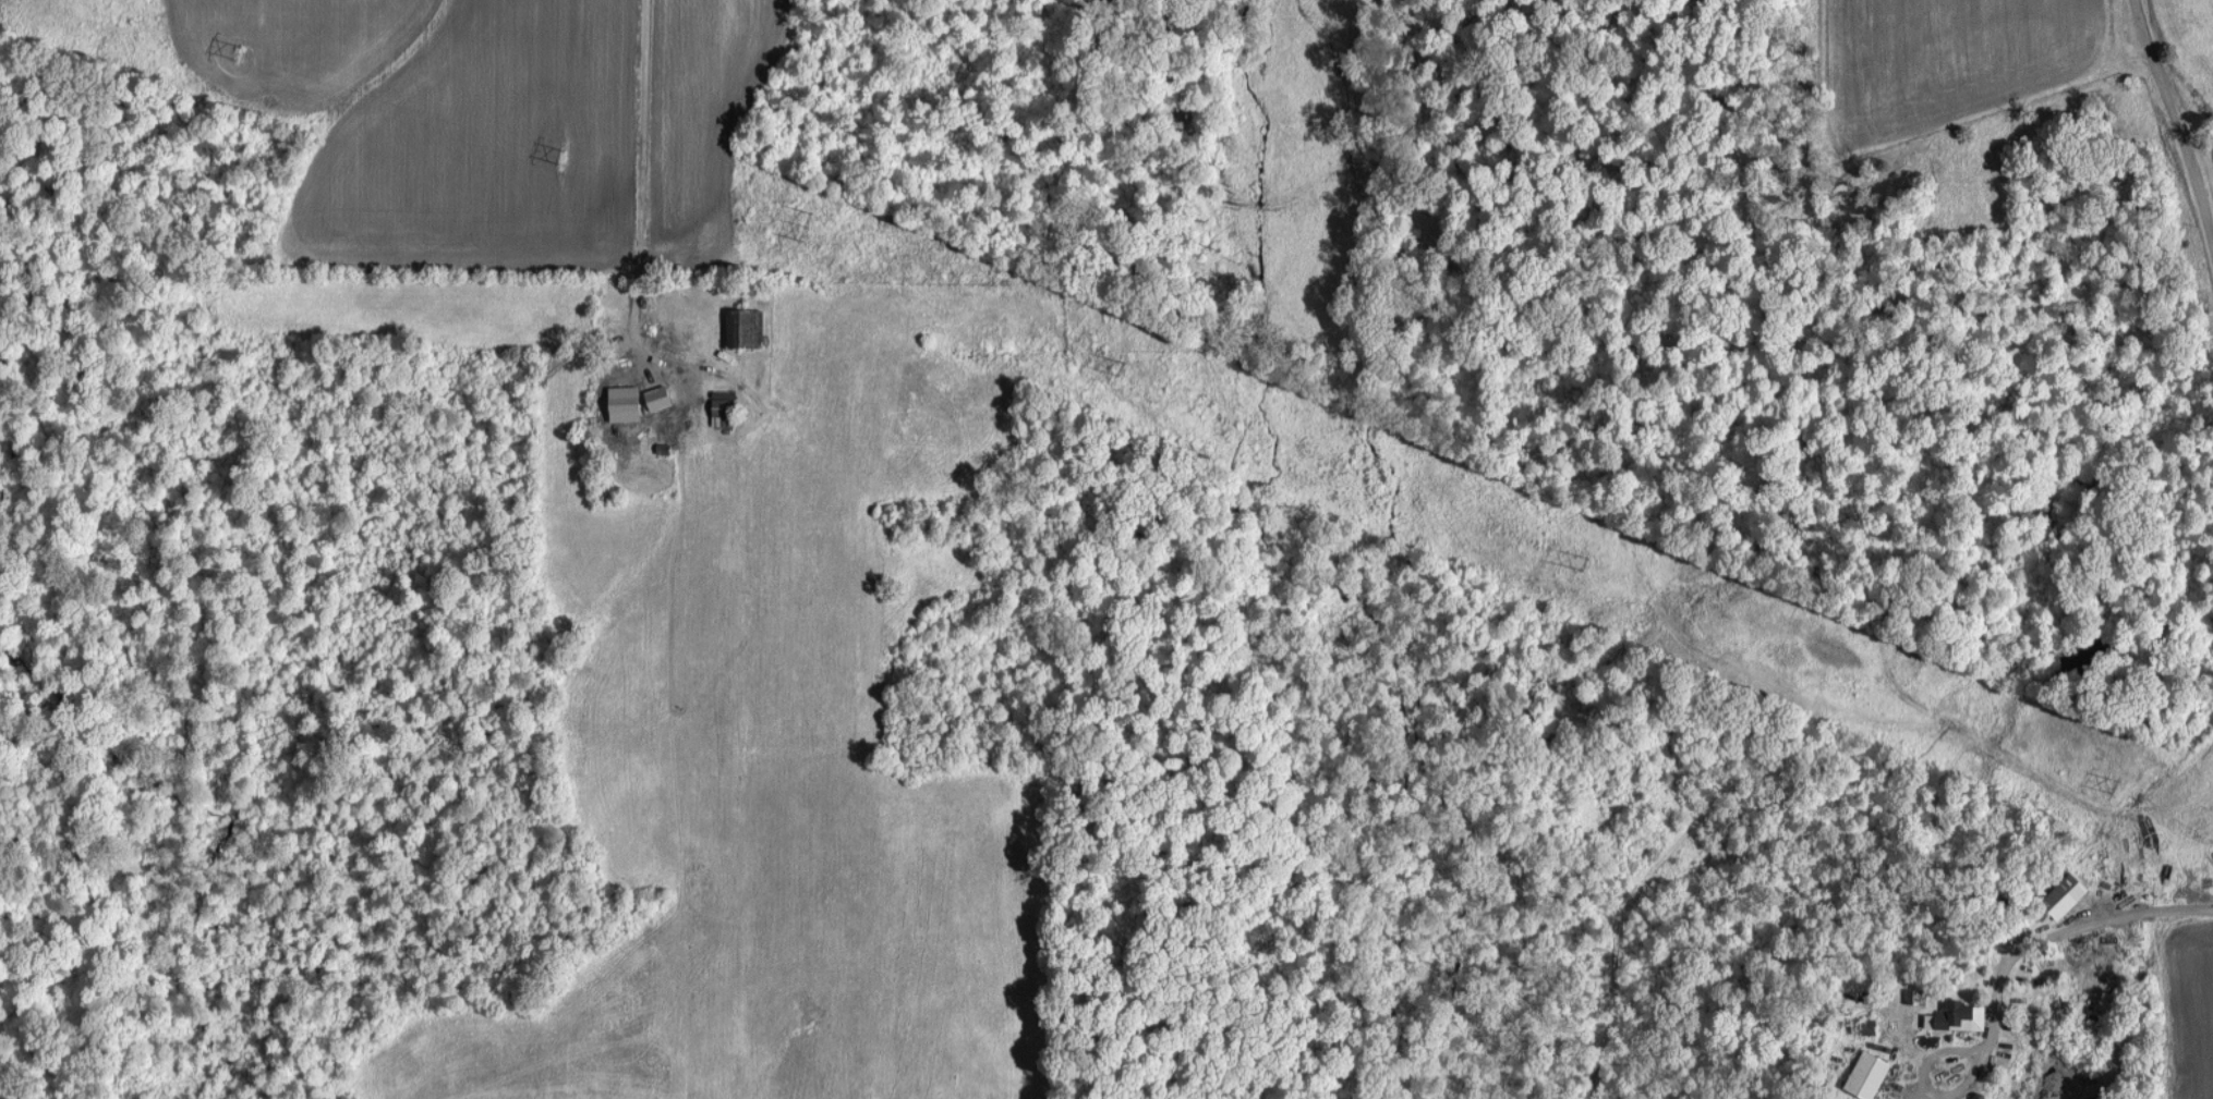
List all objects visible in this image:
power tower: (240, 52)
road: (2178, 145)
power tower: (565, 157)
road: (640, 160)
power tower: (794, 235)
building: (746, 327)
power tower: (1125, 368)
building: (724, 407)
building: (621, 412)
power tower: (1585, 560)
power tower: (2115, 784)
building: (2066, 894)
road: (2059, 929)
building: (1960, 1016)
building: (1870, 1075)
road: (1954, 1096)
road: (1922, 1097)

